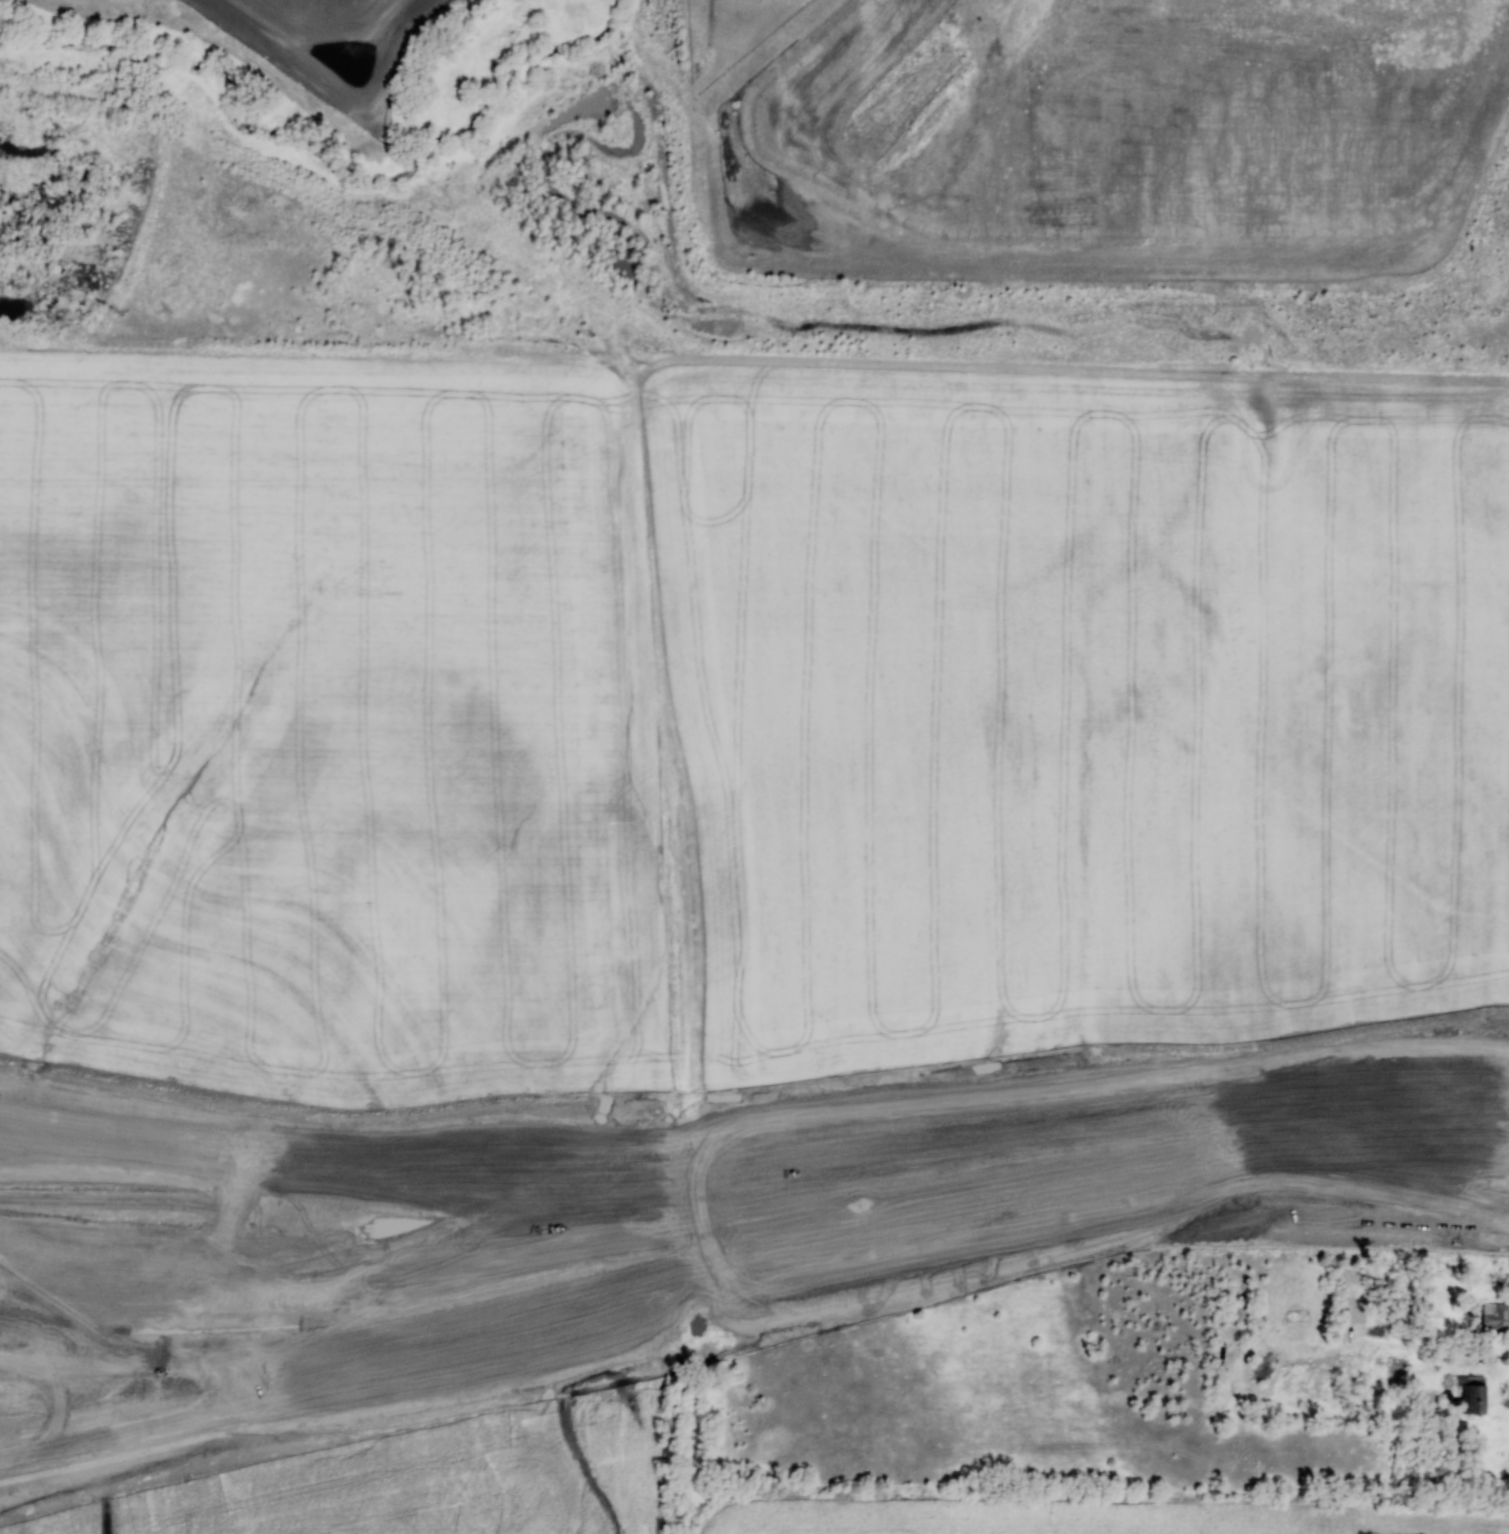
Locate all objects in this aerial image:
building: (1496, 1316)
building: (1473, 1392)

